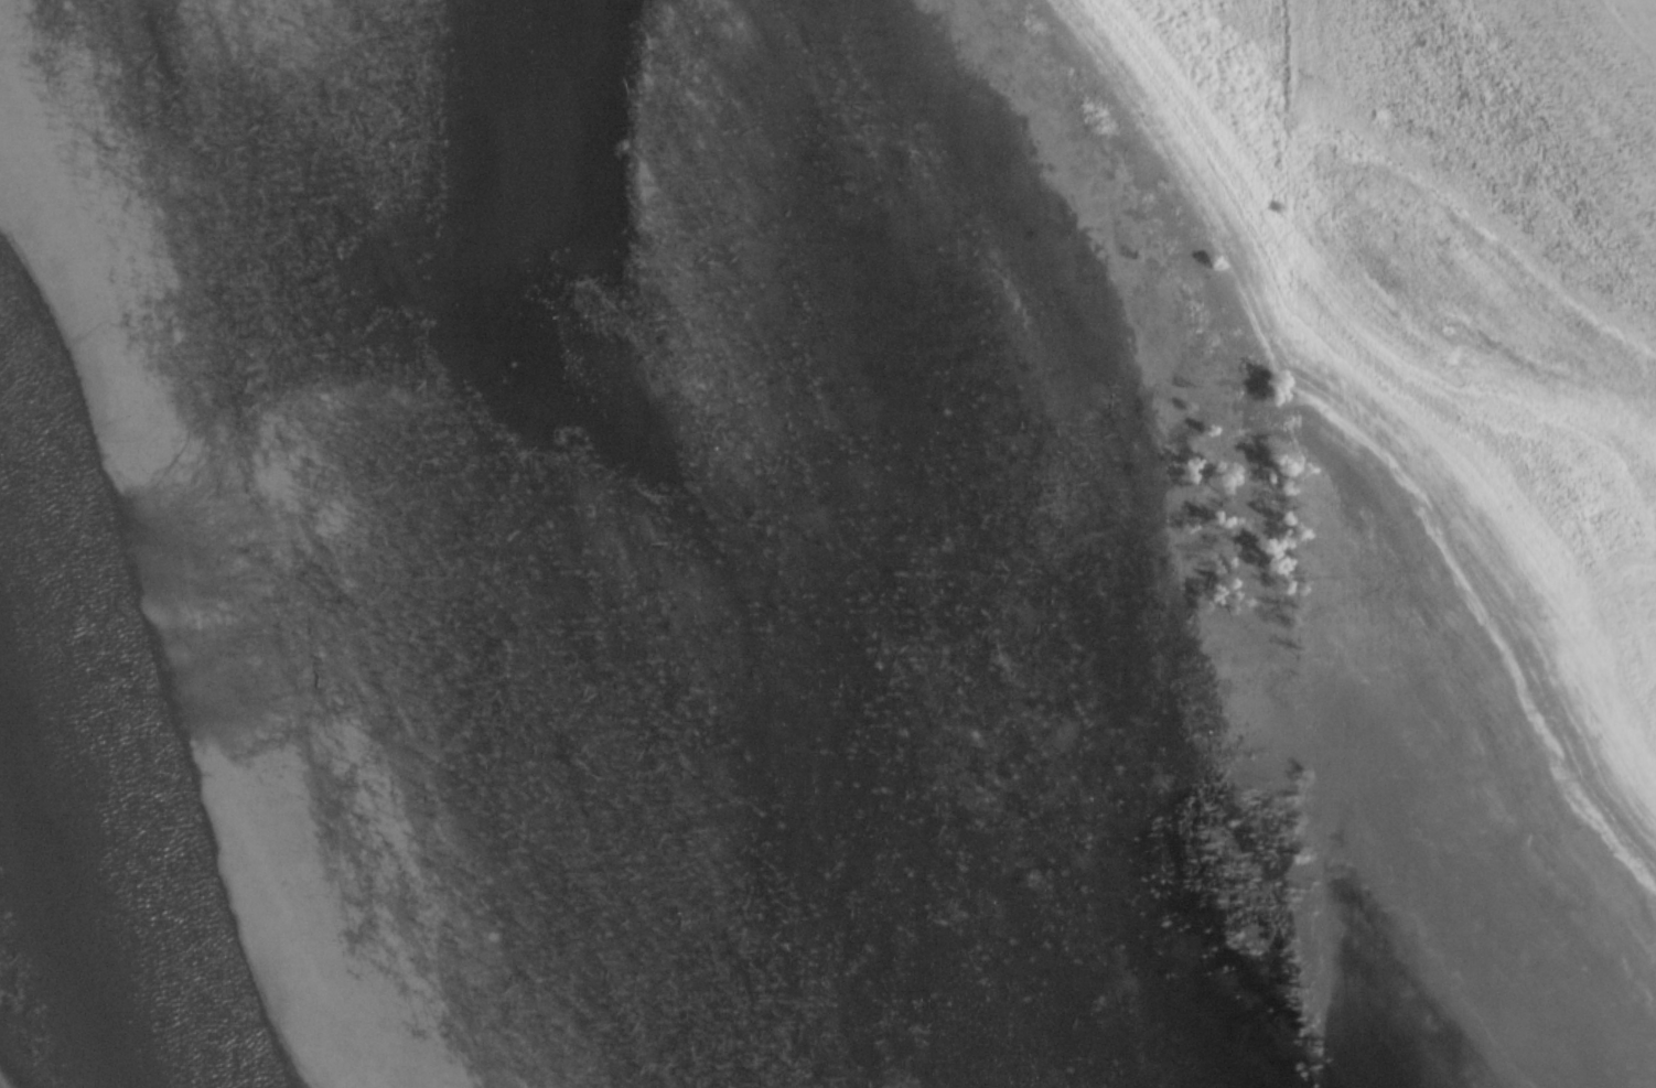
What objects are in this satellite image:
river: (98, 851)

